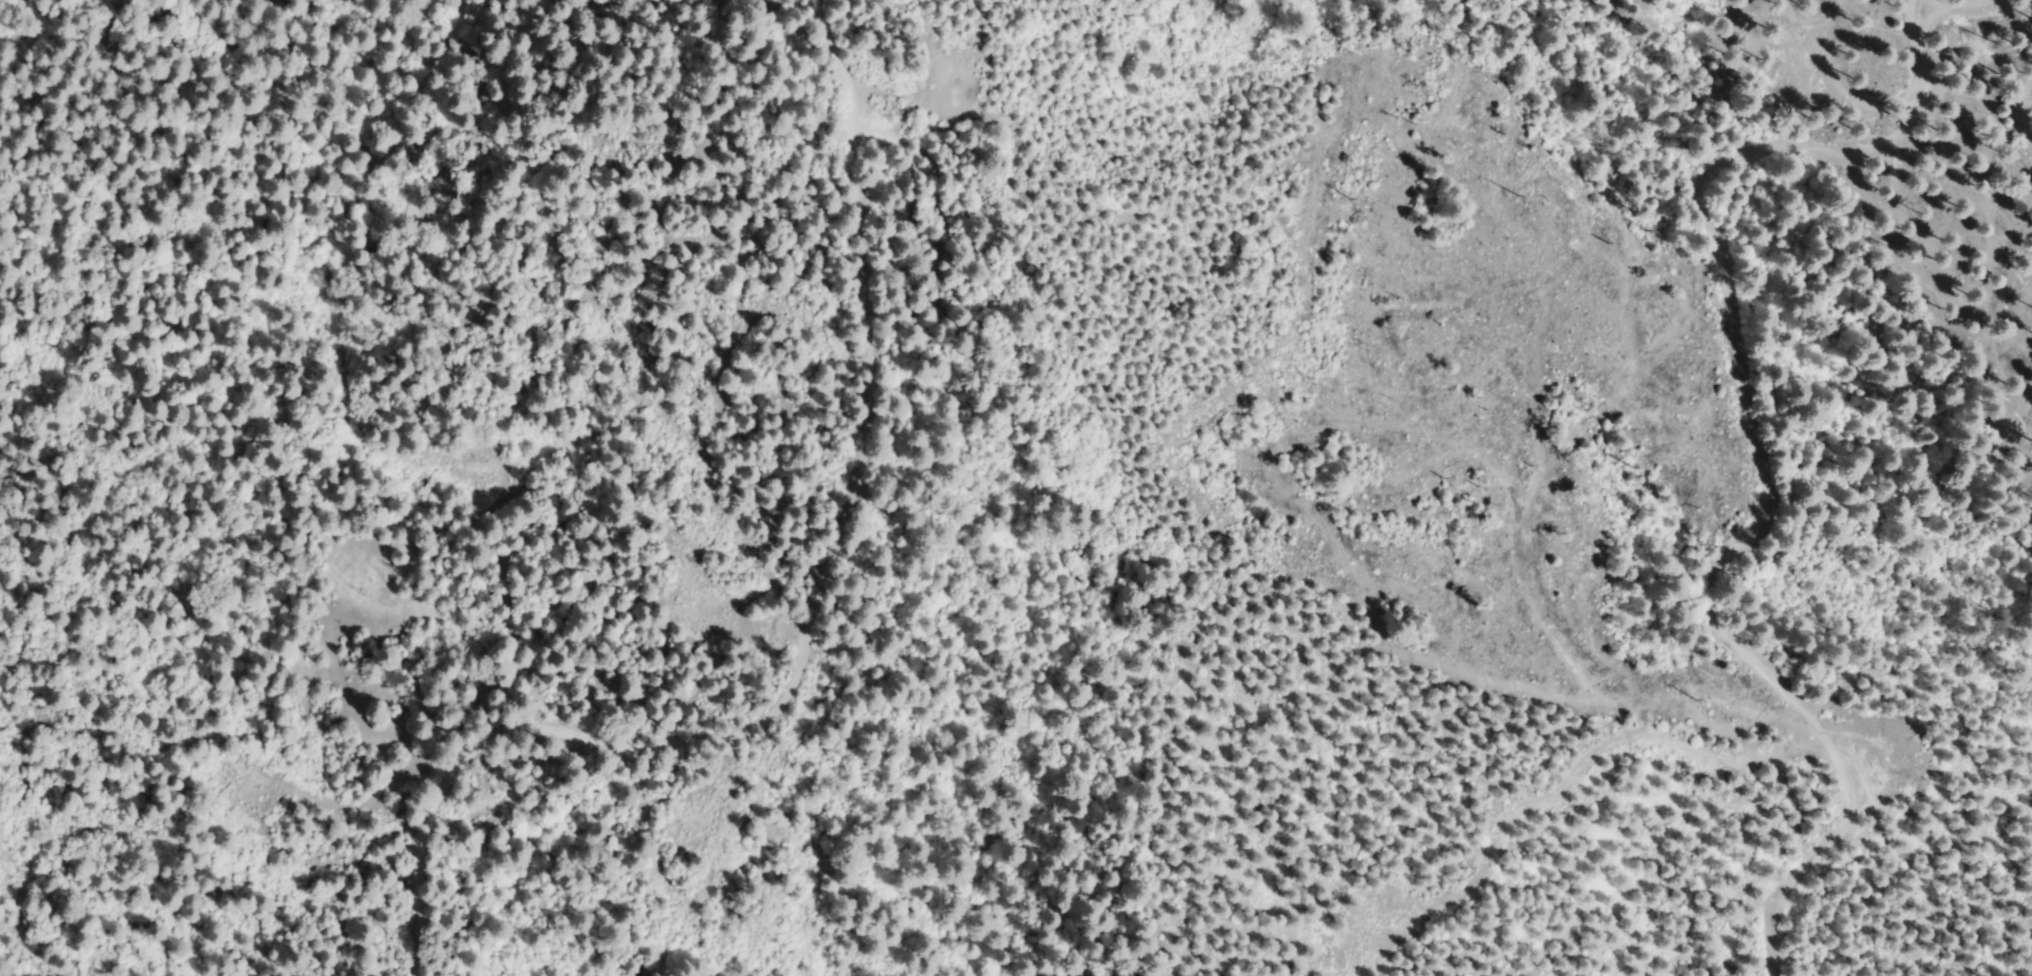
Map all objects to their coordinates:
road: (1745, 405)
road: (805, 630)

